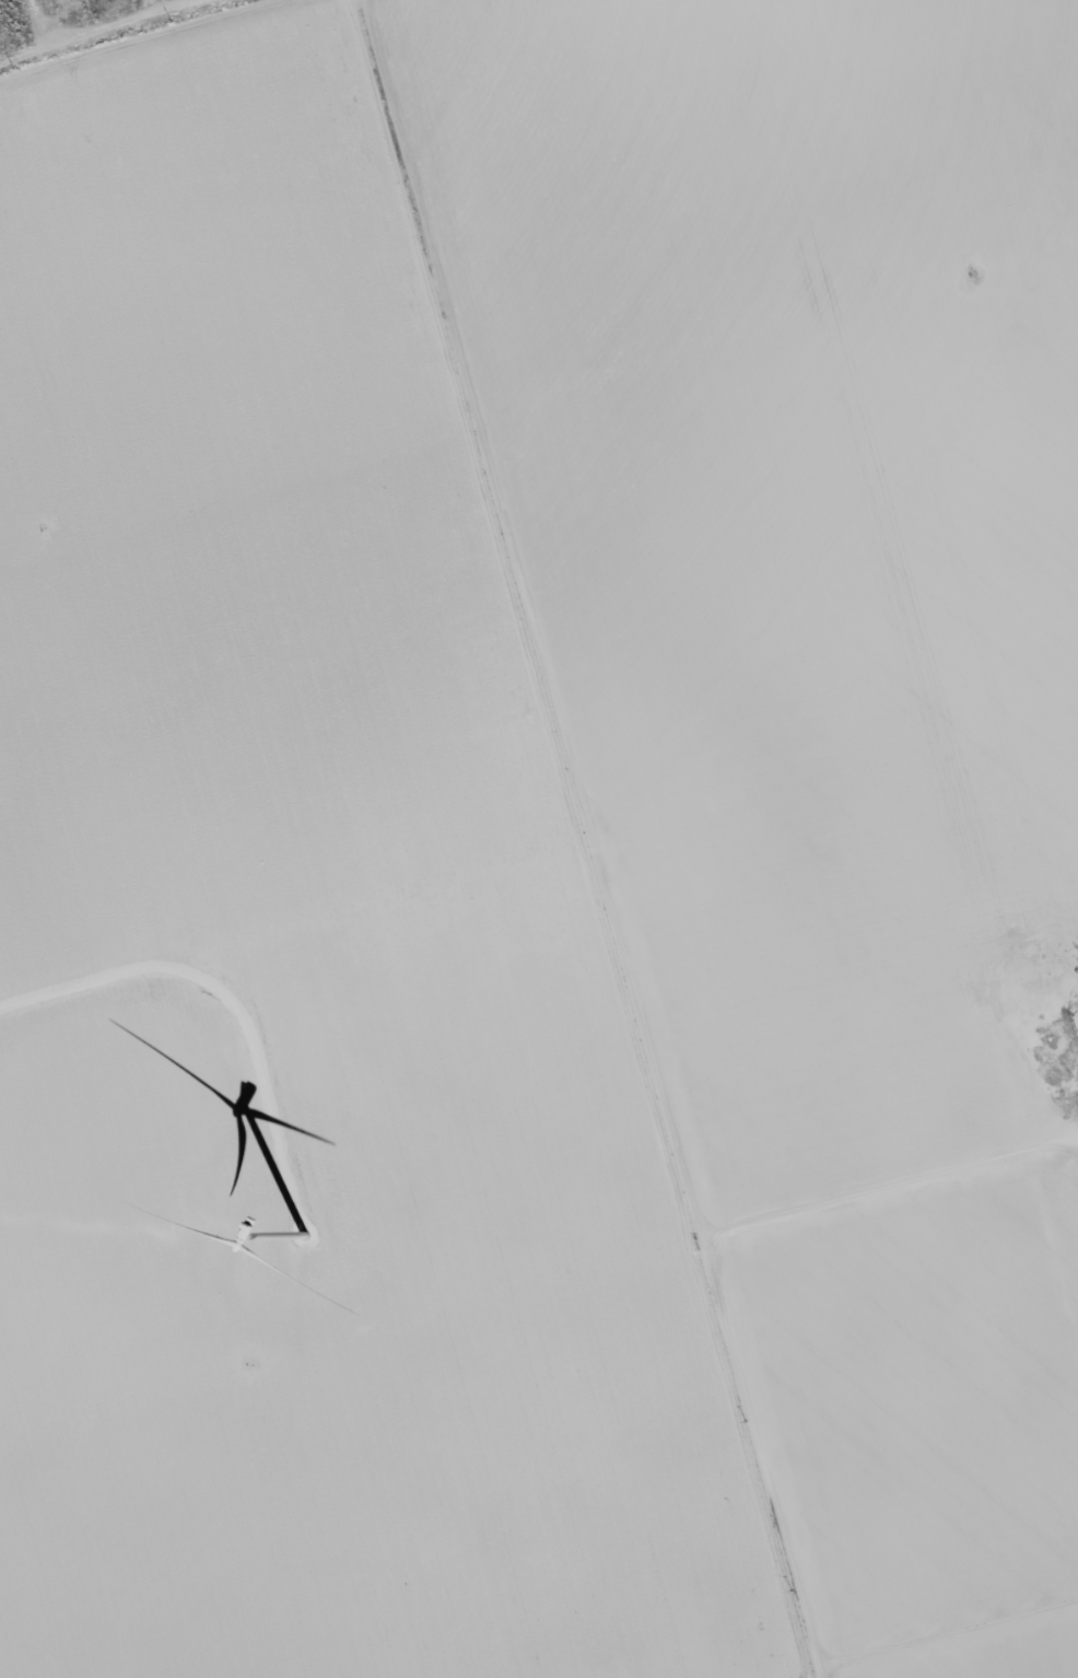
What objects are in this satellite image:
road: (1042, 158)
road: (179, 179)
road: (736, 255)
road: (566, 842)
wind turbine: (303, 1239)
road: (893, 1249)

